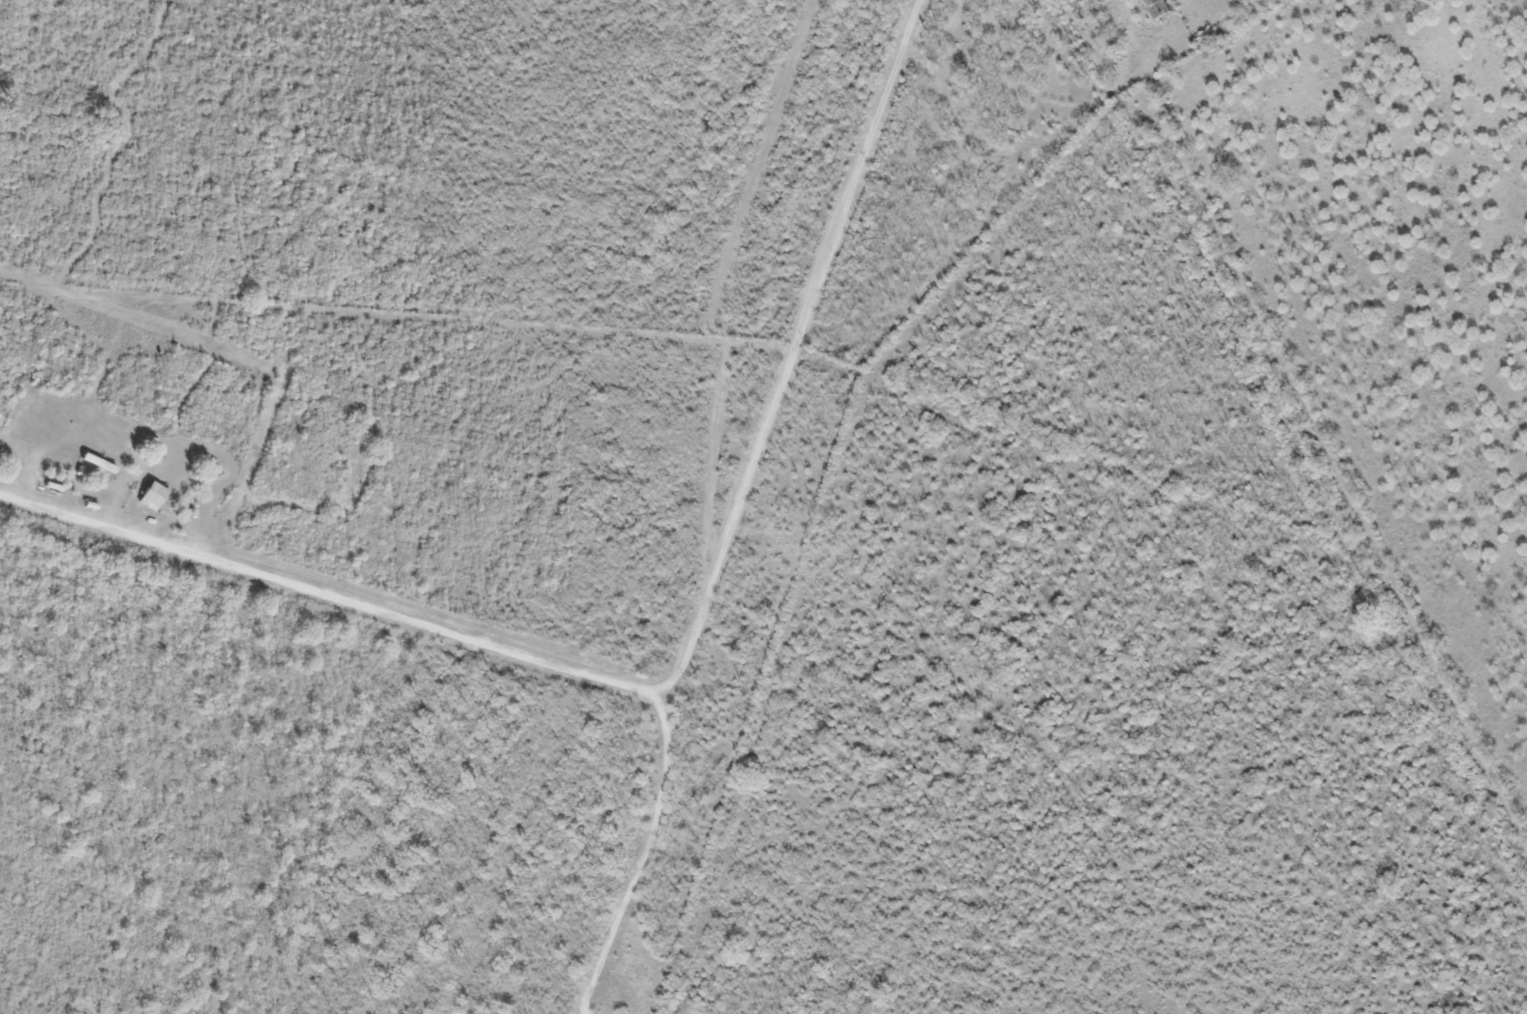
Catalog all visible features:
building: (1153, 8)
road: (788, 355)
building: (149, 494)
road: (486, 642)

